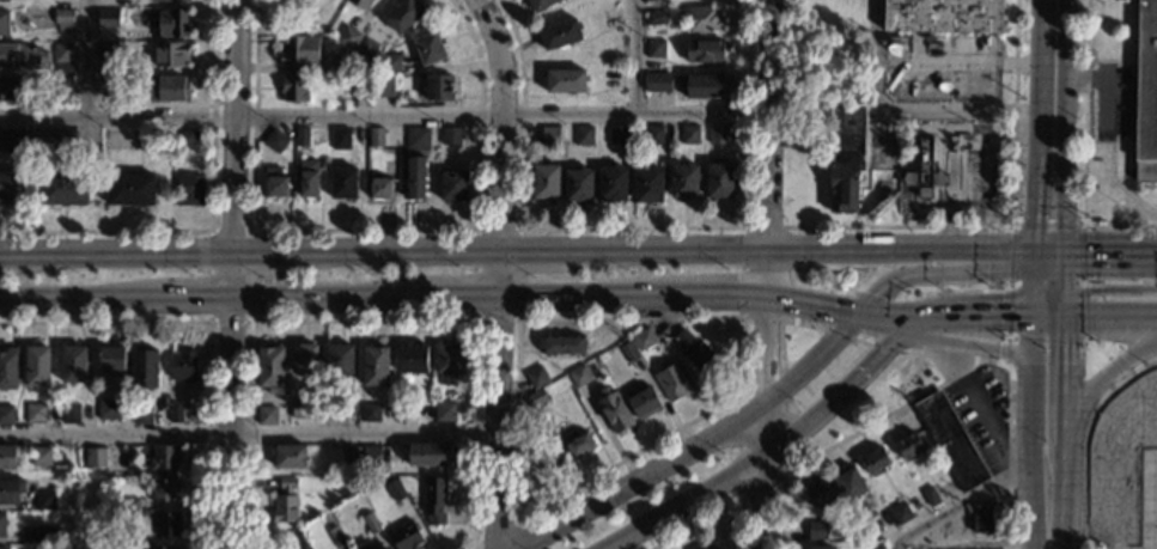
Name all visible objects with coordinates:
building: (4, 0)
building: (171, 0)
building: (644, 0)
building: (360, 2)
building: (538, 4)
building: (288, 5)
building: (402, 14)
building: (943, 16)
building: (108, 17)
building: (654, 17)
building: (701, 18)
building: (63, 19)
building: (4, 22)
building: (170, 24)
building: (559, 33)
building: (348, 36)
building: (365, 47)
building: (428, 47)
building: (654, 48)
building: (300, 49)
building: (108, 50)
building: (702, 50)
building: (62, 51)
building: (170, 54)
road: (1055, 54)
building: (20, 56)
road: (87, 59)
road: (635, 59)
building: (390, 61)
building: (342, 62)
building: (565, 79)
building: (657, 81)
building: (105, 84)
building: (61, 85)
building: (357, 85)
building: (700, 85)
building: (380, 86)
building: (439, 86)
building: (11, 89)
building: (169, 89)
building: (293, 89)
building: (1145, 93)
park: (811, 105)
road: (914, 108)
road: (384, 118)
road: (498, 121)
road: (233, 124)
building: (717, 133)
building: (452, 134)
building: (549, 134)
building: (584, 134)
building: (617, 134)
building: (652, 134)
building: (688, 134)
building: (303, 135)
building: (376, 136)
building: (118, 138)
building: (187, 138)
building: (340, 138)
building: (416, 138)
building: (55, 139)
building: (275, 139)
building: (13, 141)
road: (768, 147)
road: (1084, 148)
building: (845, 155)
building: (922, 172)
building: (415, 176)
road: (1037, 177)
road: (1062, 177)
building: (307, 178)
building: (718, 179)
building: (684, 181)
building: (274, 182)
building: (343, 182)
building: (546, 182)
building: (611, 183)
building: (452, 184)
building: (647, 184)
building: (578, 185)
building: (10, 187)
building: (62, 188)
building: (130, 188)
building: (379, 188)
building: (188, 189)
road: (211, 220)
road: (1078, 224)
road: (1011, 225)
road: (629, 227)
road: (519, 228)
road: (365, 230)
road: (802, 248)
road: (534, 249)
traffic signals: (1033, 249)
road: (1048, 249)
road: (263, 250)
road: (395, 250)
traffic signals: (1064, 250)
road: (1110, 250)
road: (116, 251)
road: (925, 264)
road: (742, 270)
road: (1064, 272)
road: (495, 273)
road: (1031, 282)
road: (1110, 288)
road: (712, 295)
road: (578, 297)
road: (173, 298)
road: (307, 298)
road: (440, 298)
road: (59, 299)
road: (808, 305)
road: (1047, 305)
road: (1065, 305)
traffic signals: (853, 315)
traffic signals: (1030, 317)
road: (1047, 317)
traffic signals: (1065, 317)
road: (1110, 317)
road: (968, 318)
road: (779, 319)
road: (879, 319)
road: (365, 321)
road: (249, 322)
traffic signals: (908, 324)
road: (207, 331)
road: (945, 331)
road: (926, 333)
building: (643, 338)
road: (859, 341)
road: (1030, 341)
building: (561, 346)
road: (988, 349)
building: (629, 352)
road: (762, 352)
building: (699, 355)
building: (111, 358)
building: (413, 358)
road: (940, 358)
road: (1107, 358)
building: (303, 359)
building: (340, 359)
building: (449, 359)
road: (808, 361)
building: (73, 364)
building: (373, 364)
road: (975, 364)
road: (1103, 364)
building: (37, 366)
building: (182, 366)
building: (8, 367)
building: (270, 367)
building: (144, 368)
road: (1064, 371)
building: (578, 376)
road: (1103, 376)
building: (536, 377)
building: (672, 380)
road: (839, 394)
road: (231, 398)
building: (535, 398)
building: (644, 401)
building: (304, 408)
road: (982, 408)
building: (106, 409)
building: (335, 409)
building: (444, 410)
building: (614, 410)
building: (370, 411)
building: (407, 411)
building: (35, 413)
building: (141, 413)
building: (176, 413)
building: (69, 414)
building: (6, 415)
building: (267, 415)
parking lot: (980, 415)
road: (1029, 422)
road: (495, 423)
road: (762, 431)
road: (246, 432)
road: (848, 433)
road: (1062, 434)
road: (1085, 438)
building: (950, 441)
building: (576, 444)
building: (908, 445)
road: (1007, 445)
building: (427, 453)
building: (290, 455)
building: (351, 455)
building: (371, 455)
building: (39, 456)
building: (6, 457)
building: (93, 457)
building: (164, 458)
building: (553, 459)
road: (1054, 459)
building: (873, 462)
building: (72, 471)
road: (518, 475)
road: (638, 478)
building: (847, 483)
building: (10, 490)
building: (165, 490)
building: (396, 492)
building: (433, 495)
building: (817, 495)
building: (930, 496)
road: (741, 498)
building: (44, 500)
road: (680, 500)
building: (285, 501)
road: (761, 501)
road: (963, 502)
building: (129, 504)
road: (718, 511)
road: (1046, 512)
building: (900, 514)
building: (982, 518)
building: (370, 523)
building: (2, 524)
building: (166, 524)
road: (506, 526)
building: (816, 530)
building: (45, 535)
building: (404, 536)
building: (337, 537)
building: (159, 547)
building: (363, 547)
building: (2, 548)
building: (380, 548)
building: (384, 548)
building: (707, 548)
building: (712, 548)
building: (818, 548)
building: (873, 548)

